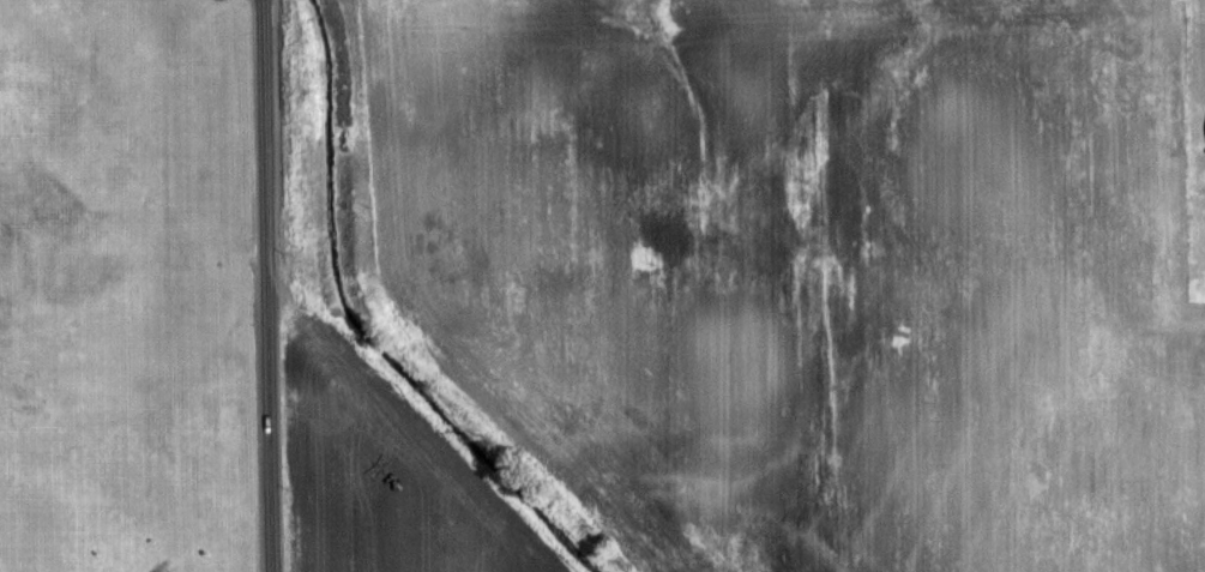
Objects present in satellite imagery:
road: (266, 285)

